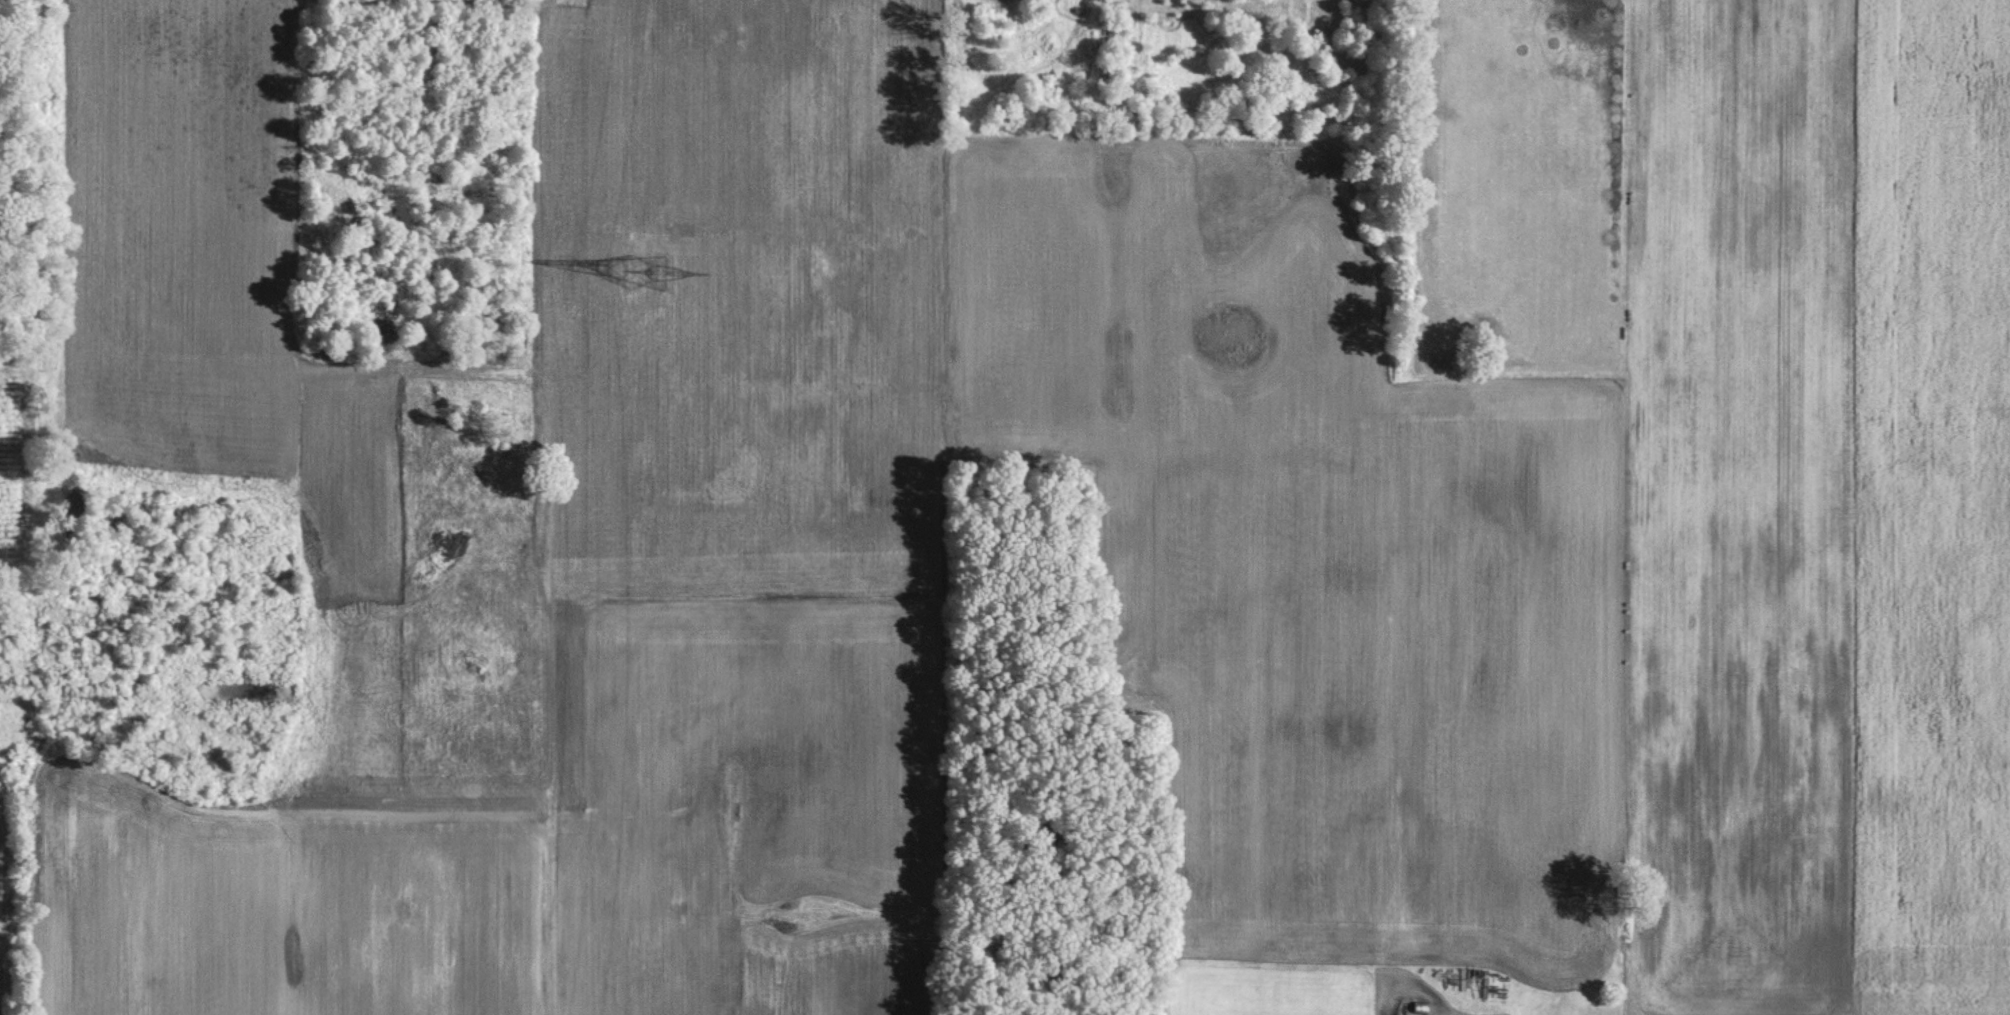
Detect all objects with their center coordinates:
power tower: (647, 267)
building: (1454, 967)

